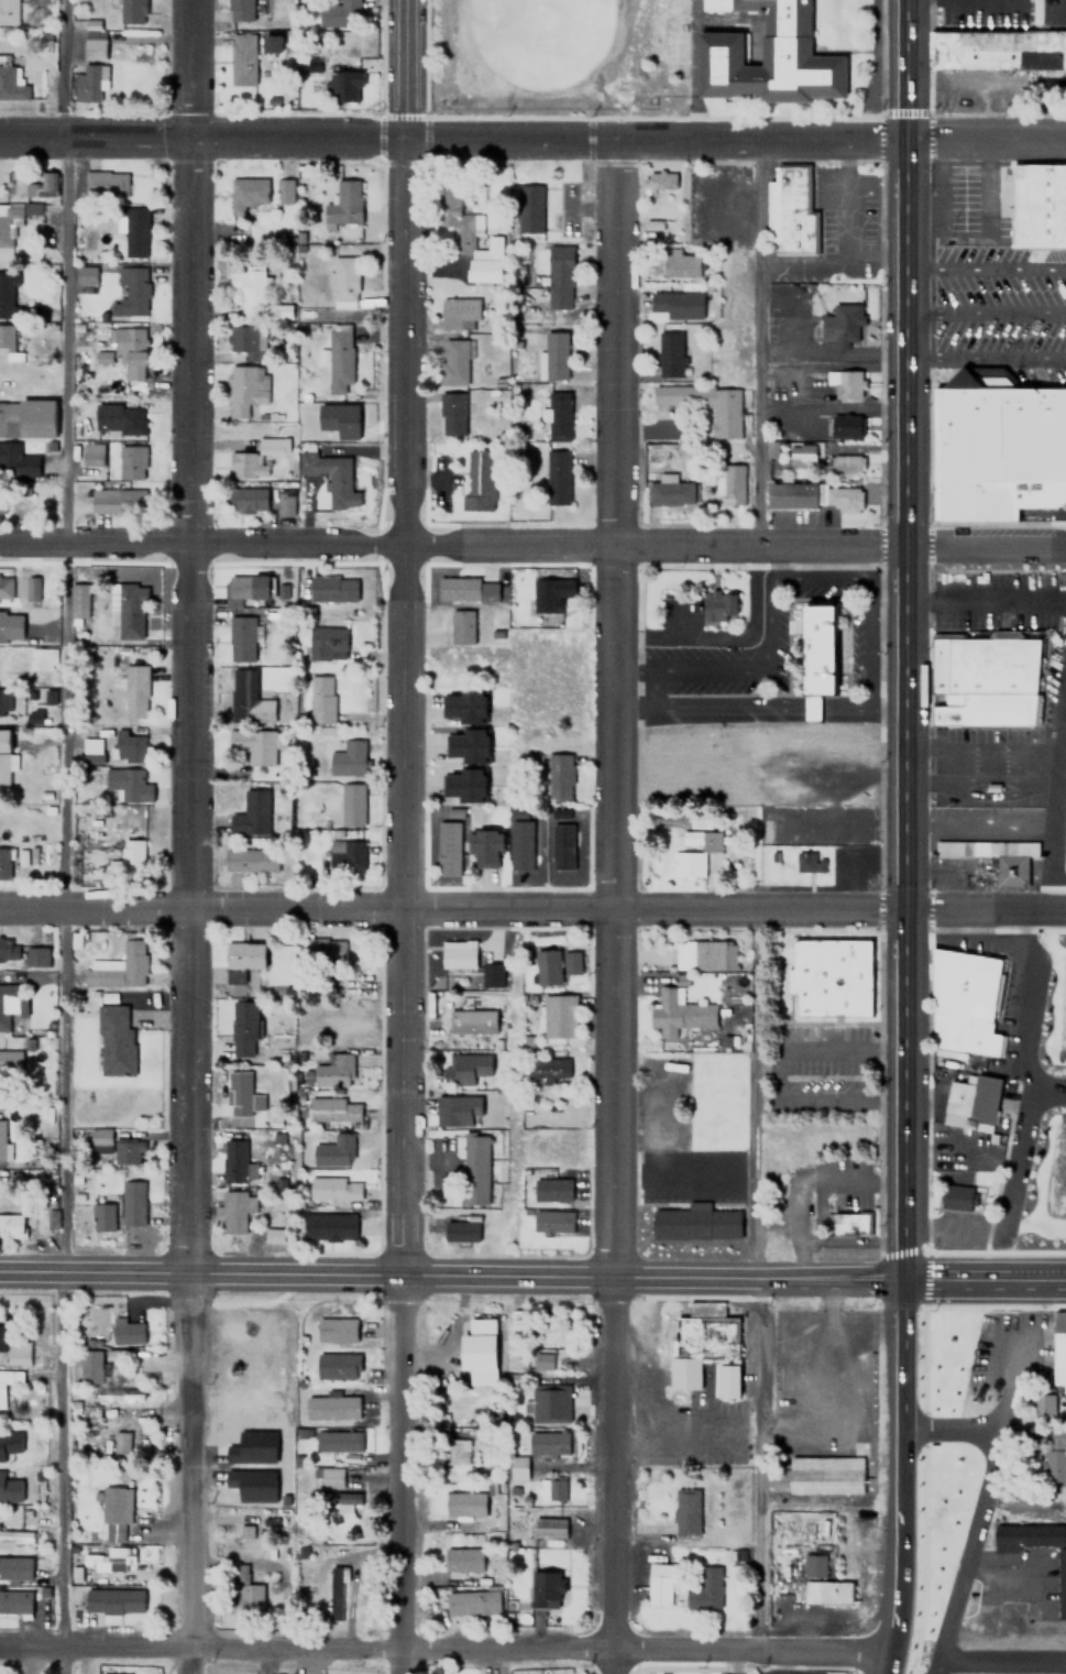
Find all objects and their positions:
building: (240, 10)
building: (131, 11)
building: (8, 12)
building: (339, 13)
park: (538, 17)
building: (92, 39)
building: (274, 43)
building: (997, 50)
building: (767, 56)
building: (241, 62)
road: (904, 70)
building: (8, 80)
building: (87, 83)
building: (343, 86)
road: (532, 140)
building: (2, 178)
building: (658, 180)
building: (39, 184)
building: (105, 184)
building: (283, 190)
building: (246, 194)
building: (568, 194)
building: (344, 201)
building: (1037, 206)
building: (31, 208)
building: (529, 208)
building: (790, 210)
building: (8, 222)
building: (131, 229)
building: (680, 264)
road: (986, 266)
building: (487, 273)
building: (85, 275)
building: (558, 276)
building: (343, 282)
building: (249, 291)
building: (129, 293)
building: (12, 299)
building: (677, 304)
building: (282, 311)
road: (986, 313)
building: (459, 314)
building: (842, 322)
building: (6, 336)
building: (241, 339)
road: (748, 344)
building: (122, 350)
building: (669, 353)
building: (554, 355)
road: (987, 358)
building: (339, 362)
building: (454, 362)
building: (847, 384)
building: (245, 389)
building: (706, 405)
building: (557, 413)
building: (452, 414)
building: (29, 417)
building: (119, 419)
building: (342, 419)
building: (845, 426)
building: (274, 446)
building: (996, 447)
road: (64, 453)
building: (801, 453)
building: (90, 455)
building: (18, 462)
building: (130, 462)
building: (246, 464)
building: (842, 464)
building: (328, 474)
building: (477, 479)
building: (557, 479)
building: (732, 483)
building: (669, 491)
building: (792, 495)
building: (843, 499)
building: (2, 500)
building: (107, 500)
building: (246, 501)
building: (287, 502)
road: (532, 545)
building: (6, 587)
building: (246, 588)
building: (333, 588)
building: (463, 589)
building: (30, 591)
building: (552, 593)
building: (77, 600)
building: (696, 608)
building: (128, 611)
building: (11, 626)
building: (461, 626)
road: (400, 635)
building: (240, 637)
building: (326, 643)
building: (827, 655)
building: (41, 658)
building: (982, 679)
building: (134, 691)
building: (248, 698)
building: (3, 699)
building: (321, 699)
building: (464, 705)
road: (908, 707)
building: (820, 714)
road: (762, 715)
building: (34, 716)
building: (466, 745)
building: (129, 746)
building: (254, 746)
building: (90, 750)
building: (4, 757)
building: (347, 758)
building: (560, 777)
building: (128, 784)
building: (462, 785)
building: (350, 805)
building: (251, 813)
road: (195, 836)
building: (521, 844)
building: (564, 845)
building: (485, 847)
building: (449, 851)
building: (693, 852)
building: (345, 856)
building: (131, 857)
building: (992, 858)
building: (251, 860)
building: (4, 863)
building: (810, 864)
building: (116, 866)
road: (618, 907)
road: (532, 911)
building: (8, 949)
building: (322, 951)
building: (705, 954)
building: (35, 956)
building: (244, 956)
building: (458, 958)
building: (572, 965)
building: (118, 967)
building: (548, 969)
building: (492, 975)
building: (832, 977)
building: (9, 1002)
building: (964, 1004)
building: (680, 1013)
building: (559, 1016)
building: (471, 1021)
building: (243, 1029)
building: (113, 1041)
building: (9, 1064)
building: (465, 1068)
building: (549, 1069)
building: (333, 1071)
road: (1047, 1092)
building: (240, 1094)
building: (972, 1099)
road: (1029, 1101)
building: (332, 1110)
building: (458, 1110)
park: (1048, 1123)
building: (2, 1140)
building: (102, 1140)
building: (127, 1151)
building: (333, 1151)
building: (237, 1162)
building: (474, 1170)
building: (333, 1189)
building: (552, 1190)
building: (959, 1197)
building: (132, 1203)
building: (233, 1212)
building: (102, 1217)
building: (850, 1221)
building: (552, 1222)
building: (695, 1224)
building: (11, 1227)
building: (329, 1227)
building: (460, 1232)
building: (273, 1236)
road: (532, 1272)
building: (235, 1330)
building: (336, 1330)
building: (127, 1332)
building: (552, 1332)
building: (2, 1337)
building: (705, 1347)
building: (1059, 1347)
building: (479, 1350)
building: (18, 1352)
building: (116, 1355)
road: (905, 1357)
building: (542, 1360)
building: (89, 1365)
building: (337, 1365)
building: (8, 1380)
building: (118, 1393)
building: (550, 1404)
building: (1044, 1405)
building: (331, 1407)
building: (338, 1440)
building: (9, 1442)
building: (120, 1442)
building: (549, 1443)
building: (255, 1446)
building: (457, 1452)
building: (1056, 1456)
building: (516, 1467)
road: (57, 1473)
road: (403, 1473)
building: (825, 1475)
building: (330, 1477)
building: (255, 1484)
building: (10, 1488)
building: (551, 1489)
building: (332, 1500)
building: (464, 1505)
road: (983, 1505)
building: (113, 1511)
building: (686, 1511)
building: (549, 1528)
building: (1029, 1534)
building: (15, 1535)
road: (900, 1551)
building: (463, 1560)
building: (811, 1564)
building: (14, 1567)
building: (1062, 1583)
building: (706, 1588)
building: (336, 1589)
building: (547, 1589)
building: (659, 1589)
building: (826, 1591)
building: (245, 1596)
building: (113, 1600)
building: (14, 1601)
building: (472, 1602)
road: (443, 1654)
road: (1004, 1660)
road: (886, 1666)
building: (110, 1673)

